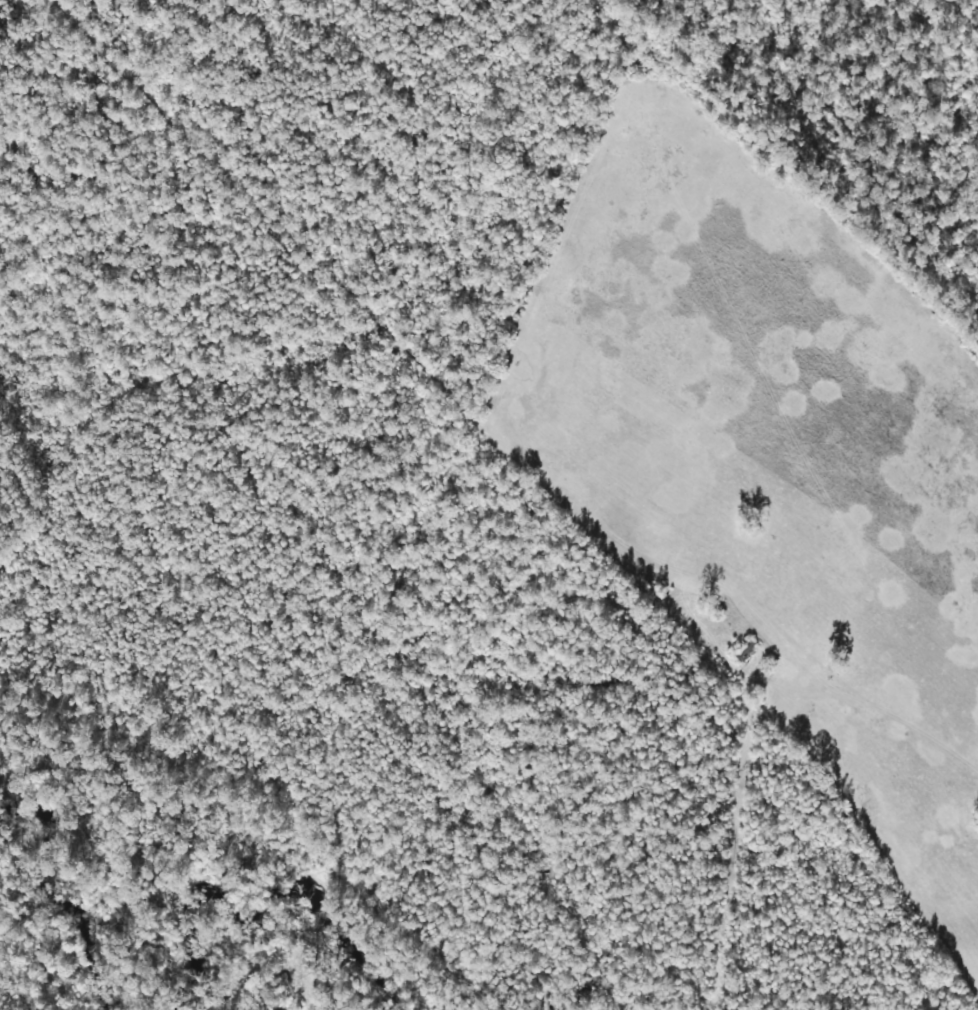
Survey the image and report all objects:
road: (911, 827)

